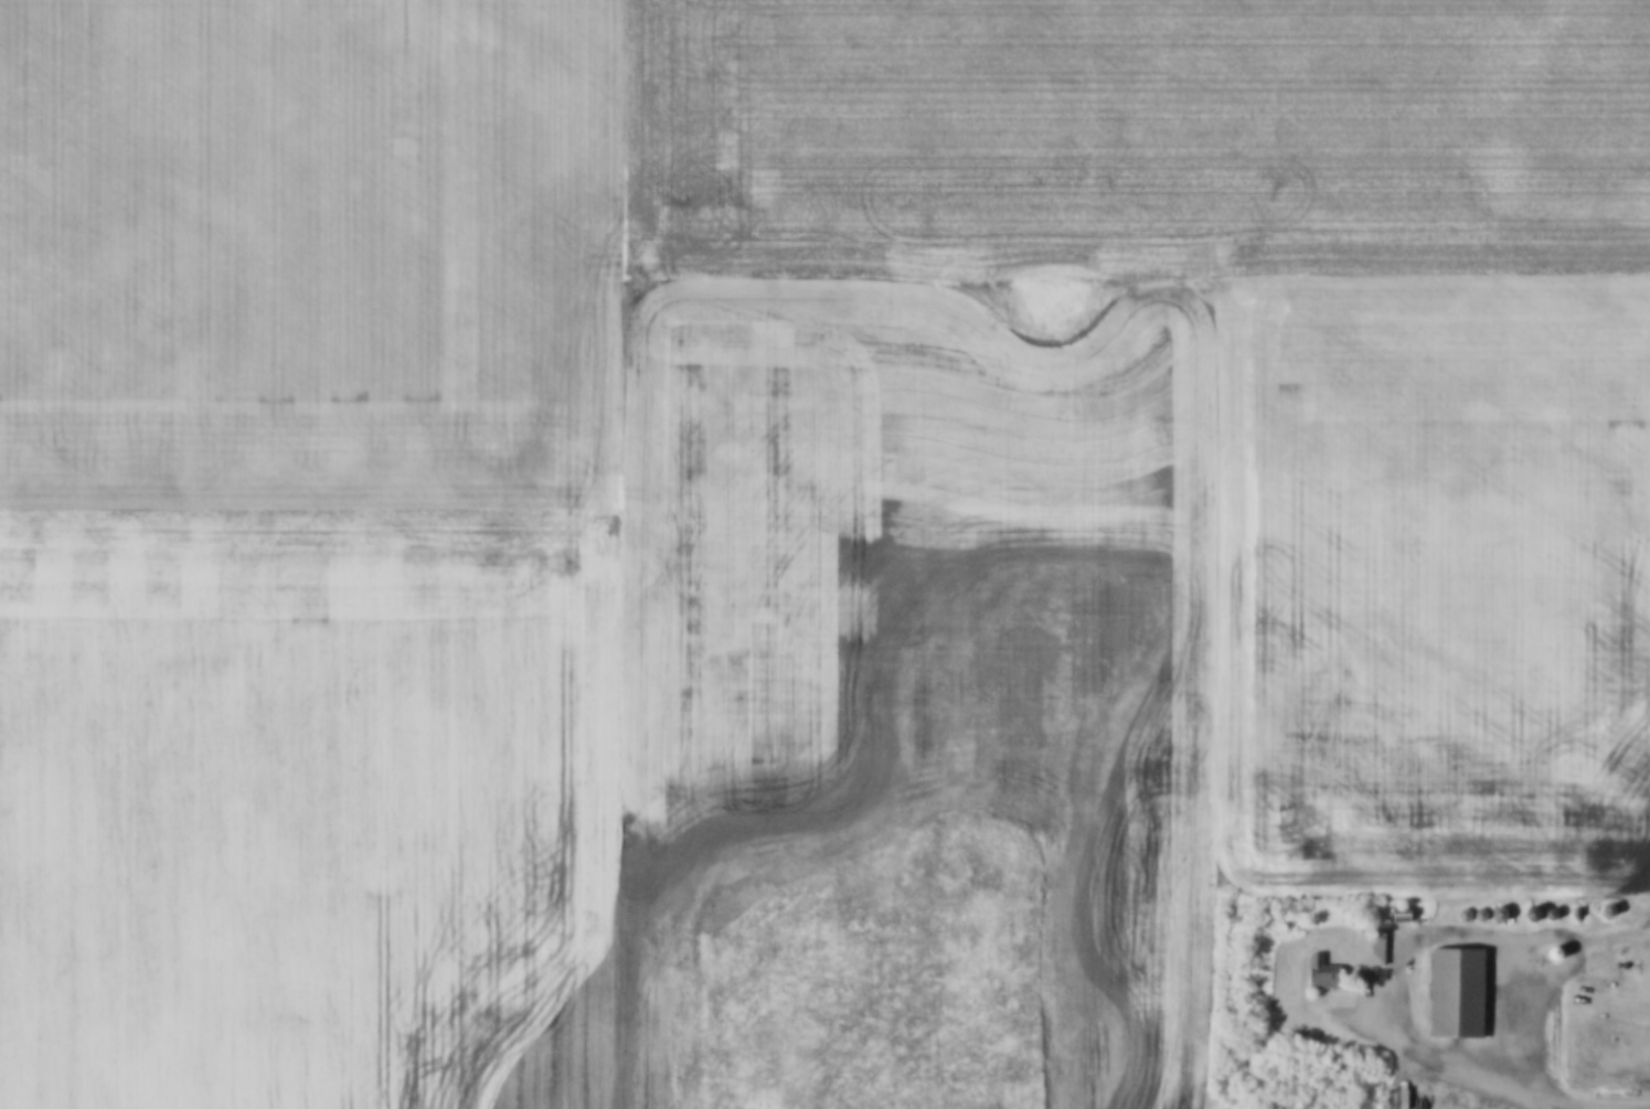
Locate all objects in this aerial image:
building: (1603, 907)
silo: (1603, 907)
building: (1393, 910)
building: (1525, 911)
silo: (1525, 911)
building: (1545, 913)
silo: (1545, 913)
building: (1492, 914)
silo: (1492, 914)
building: (1459, 915)
silo: (1459, 915)
building: (1475, 915)
silo: (1475, 915)
building: (1364, 943)
road: (1401, 948)
building: (1547, 953)
silo: (1547, 953)
building: (1314, 969)
building: (1449, 992)
road: (1606, 1105)
road: (1562, 1107)

